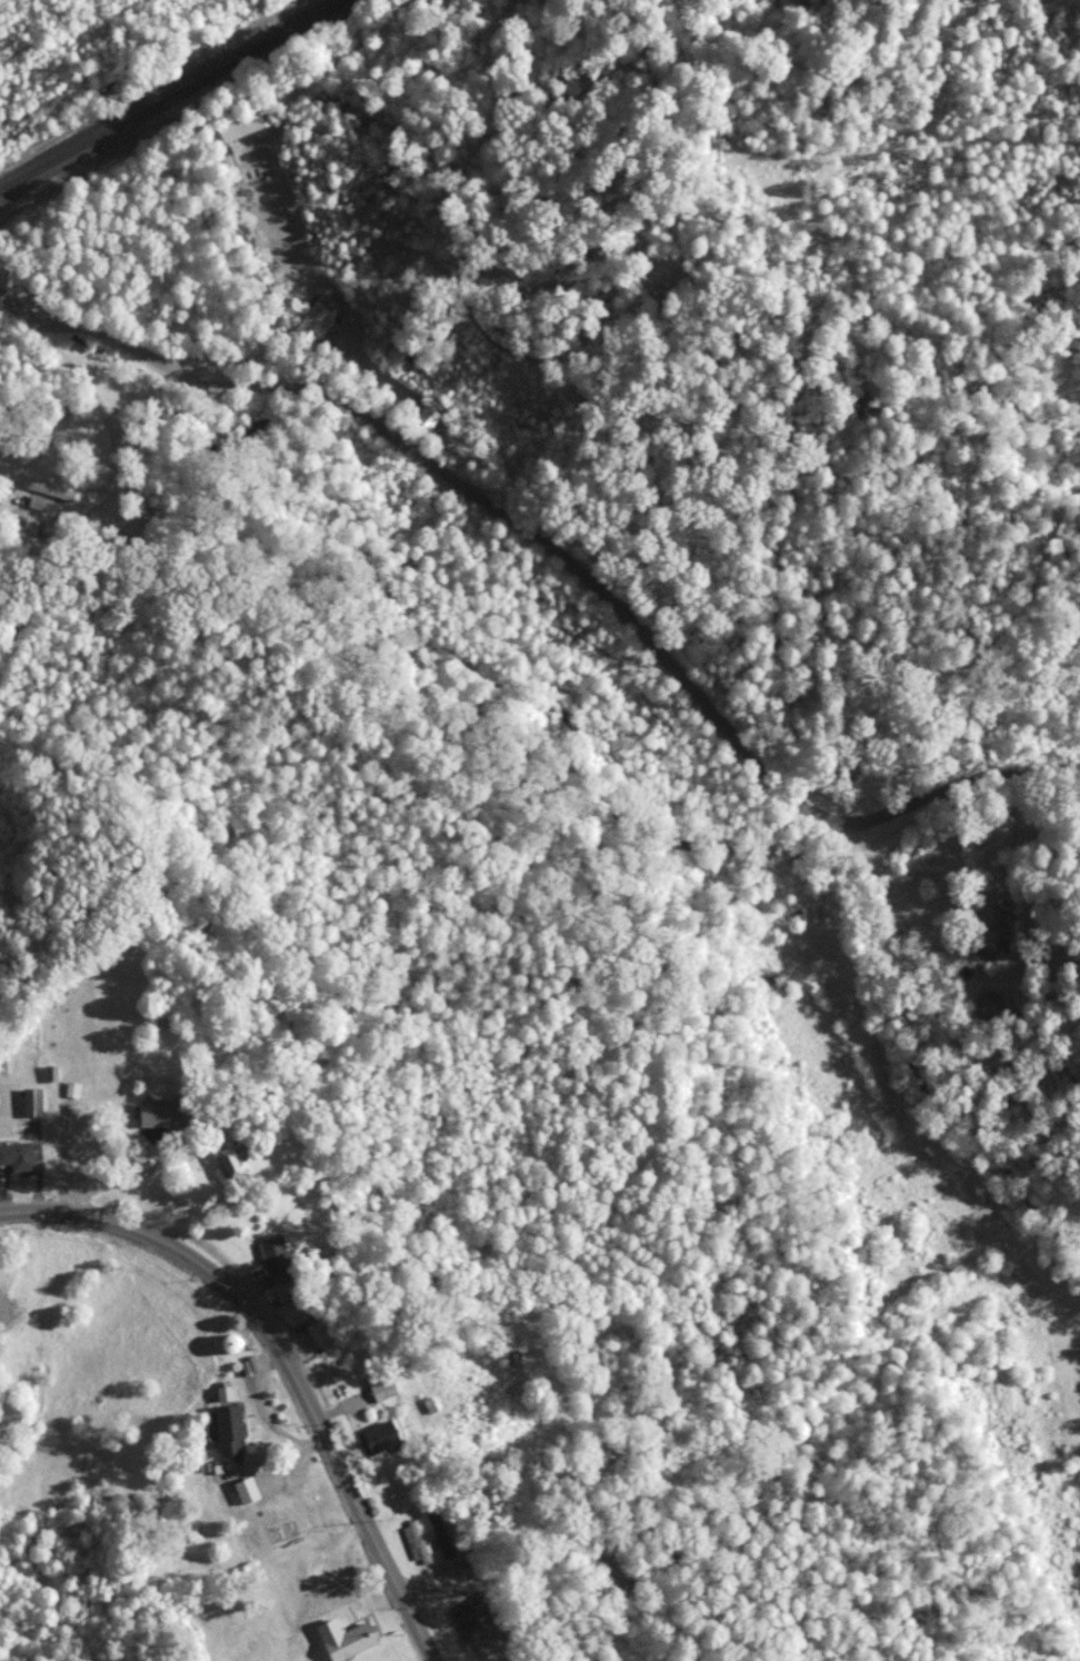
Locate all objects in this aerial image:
railway: (169, 93)
building: (238, 127)
road: (306, 261)
building: (312, 317)
road: (287, 364)
road: (104, 411)
building: (428, 419)
building: (51, 489)
road: (561, 557)
building: (990, 923)
building: (773, 984)
road: (929, 995)
building: (991, 1011)
building: (4, 1065)
building: (53, 1075)
building: (74, 1090)
building: (30, 1101)
building: (156, 1113)
building: (14, 1154)
building: (226, 1158)
road: (116, 1184)
building: (274, 1260)
building: (291, 1310)
building: (317, 1332)
building: (226, 1341)
road: (282, 1356)
building: (510, 1357)
building: (378, 1384)
road: (269, 1413)
building: (223, 1418)
building: (376, 1440)
road: (289, 1464)
building: (244, 1492)
building: (441, 1535)
building: (414, 1541)
building: (476, 1620)
building: (339, 1637)

